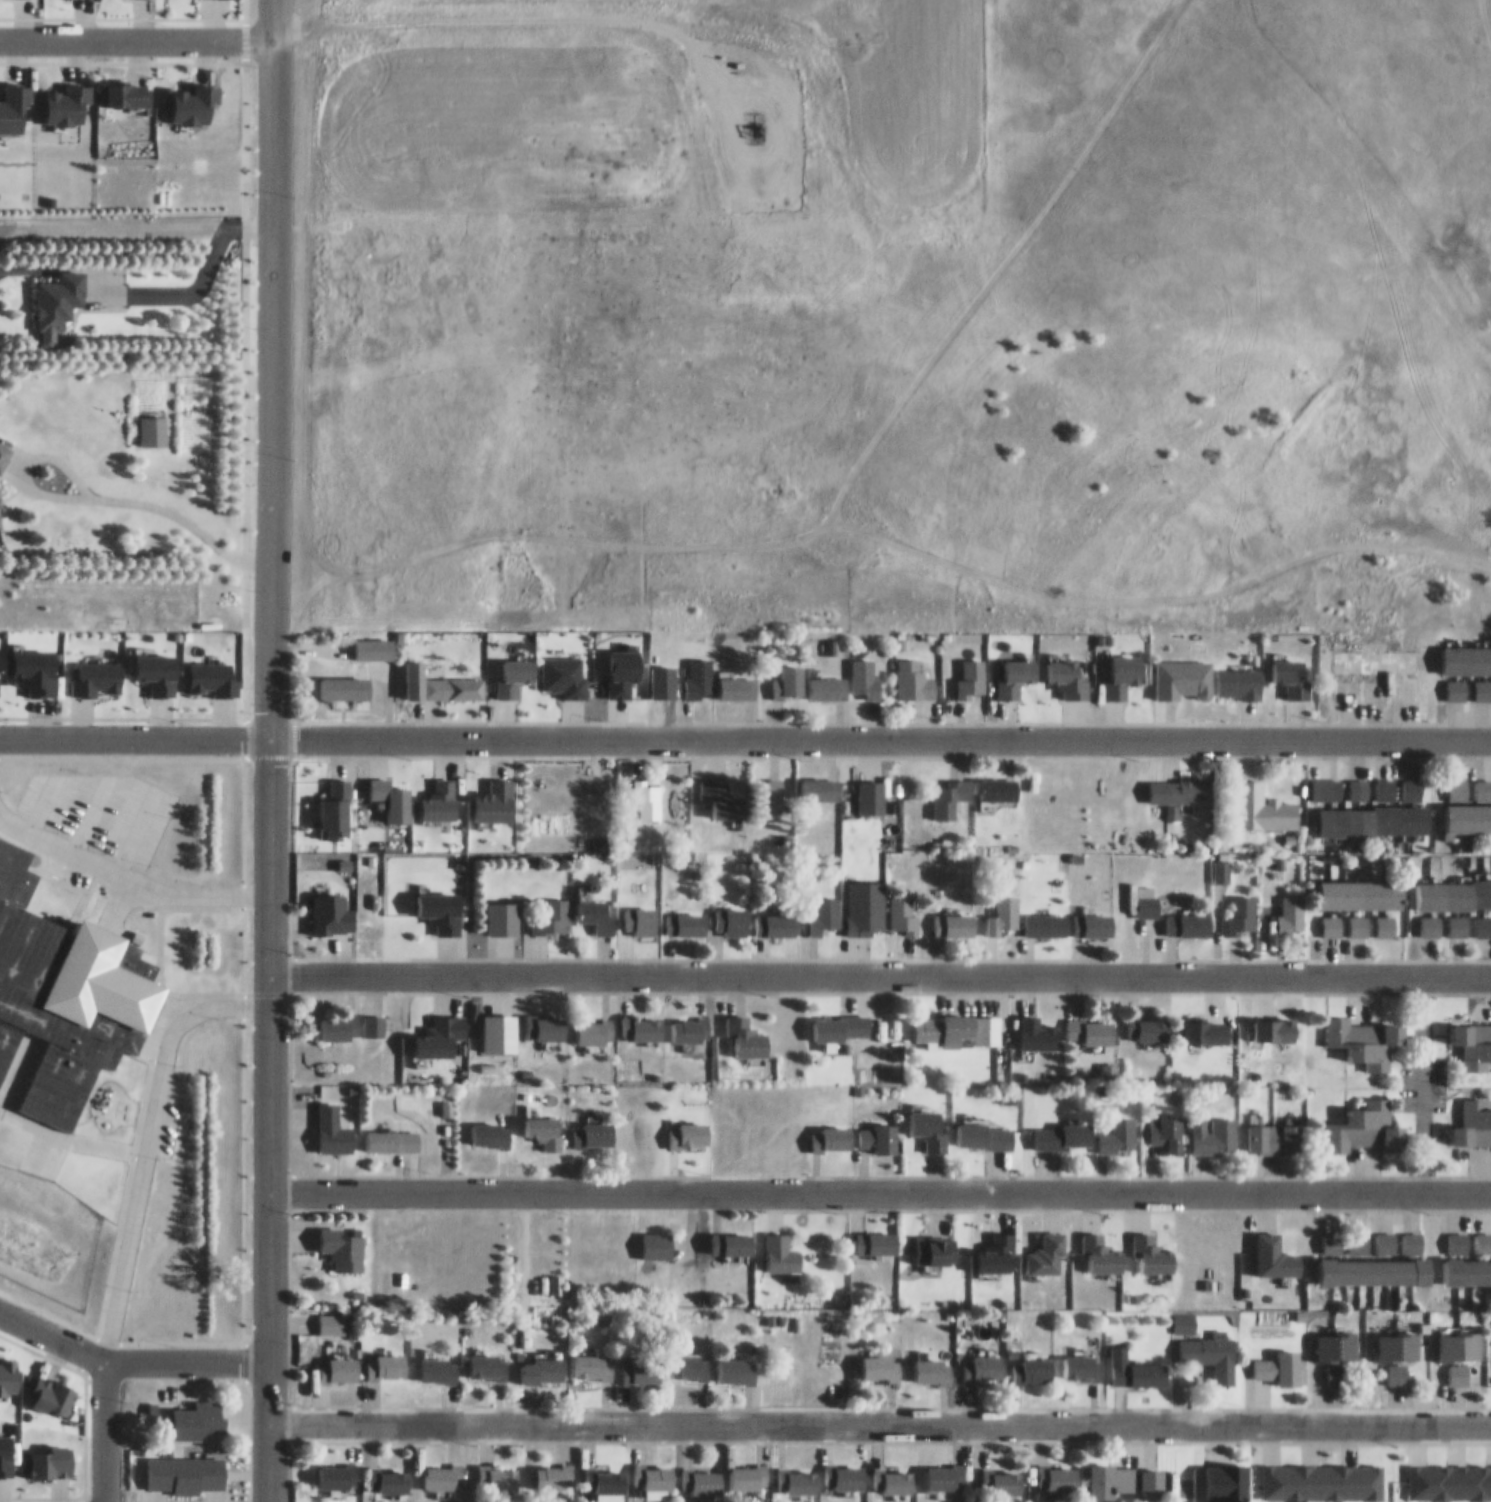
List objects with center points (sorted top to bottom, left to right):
road: (498, 10)
road: (135, 36)
road: (204, 264)
building: (60, 290)
road: (61, 455)
building: (1, 478)
building: (1405, 504)
road: (187, 514)
building: (1468, 651)
building: (1381, 652)
building: (623, 662)
building: (1123, 665)
building: (564, 666)
building: (514, 667)
building: (1017, 668)
building: (1292, 668)
building: (866, 669)
building: (915, 669)
building: (699, 670)
building: (972, 670)
building: (1069, 670)
building: (791, 672)
building: (439, 674)
building: (1239, 675)
building: (346, 679)
building: (738, 679)
building: (829, 679)
building: (1378, 681)
building: (1457, 681)
building: (1482, 681)
road: (133, 731)
road: (879, 733)
road: (268, 750)
building: (821, 780)
building: (999, 780)
building: (1326, 781)
building: (1410, 781)
building: (1384, 782)
building: (1470, 782)
building: (1189, 783)
building: (1357, 783)
building: (871, 788)
building: (949, 788)
building: (722, 790)
building: (767, 790)
building: (647, 792)
building: (1263, 799)
building: (1469, 809)
building: (1373, 812)
road: (128, 877)
building: (1364, 885)
building: (1453, 885)
building: (1213, 889)
building: (1146, 893)
building: (442, 901)
building: (597, 905)
building: (903, 905)
building: (549, 907)
building: (824, 907)
building: (1004, 907)
building: (1242, 907)
building: (867, 908)
building: (503, 909)
building: (1287, 909)
building: (641, 912)
building: (732, 912)
building: (686, 915)
building: (776, 915)
building: (955, 915)
building: (1045, 915)
building: (1093, 916)
building: (1385, 916)
building: (1430, 916)
building: (1346, 917)
building: (1468, 917)
road: (879, 967)
building: (61, 987)
building: (373, 1017)
building: (339, 1018)
building: (842, 1018)
building: (946, 1018)
building: (546, 1019)
building: (644, 1020)
building: (1155, 1020)
building: (690, 1021)
building: (595, 1022)
building: (1089, 1022)
building: (1366, 1023)
building: (442, 1027)
building: (748, 1027)
building: (1475, 1037)
building: (1474, 1114)
building: (930, 1119)
building: (1368, 1119)
building: (333, 1121)
building: (544, 1122)
building: (1167, 1122)
building: (491, 1125)
building: (1214, 1125)
building: (593, 1126)
building: (689, 1126)
building: (984, 1127)
building: (1062, 1127)
building: (1118, 1127)
building: (879, 1129)
building: (1276, 1129)
building: (393, 1132)
road: (143, 1141)
road: (879, 1184)
building: (878, 1234)
building: (1463, 1234)
building: (1334, 1235)
building: (1386, 1235)
building: (657, 1236)
building: (732, 1236)
building: (342, 1239)
building: (783, 1245)
building: (998, 1245)
building: (1048, 1245)
building: (1098, 1247)
building: (1154, 1247)
building: (1378, 1263)
building: (1466, 1263)
building: (331, 1315)
building: (1336, 1337)
building: (1461, 1338)
building: (1213, 1346)
building: (1399, 1346)
building: (1120, 1356)
road: (128, 1357)
building: (386, 1357)
building: (489, 1357)
building: (689, 1357)
building: (594, 1358)
building: (881, 1359)
building: (984, 1359)
building: (1082, 1359)
building: (1281, 1359)
building: (338, 1361)
building: (439, 1361)
building: (542, 1361)
building: (641, 1361)
building: (736, 1362)
building: (933, 1362)
building: (1032, 1362)
building: (1150, 1365)
building: (1333, 1366)
building: (784, 1367)
building: (200, 1412)
road: (879, 1416)
road: (103, 1429)
building: (185, 1465)
building: (844, 1467)
building: (336, 1468)
building: (943, 1468)
building: (443, 1469)
building: (553, 1469)
building: (659, 1469)
building: (748, 1469)
building: (1056, 1469)
building: (499, 1470)
building: (389, 1472)
building: (701, 1472)
building: (797, 1472)
building: (1111, 1472)
building: (899, 1473)
building: (1322, 1473)
building: (1449, 1473)
building: (1008, 1474)
building: (605, 1475)
building: (1152, 1475)
building: (1176, 1475)

